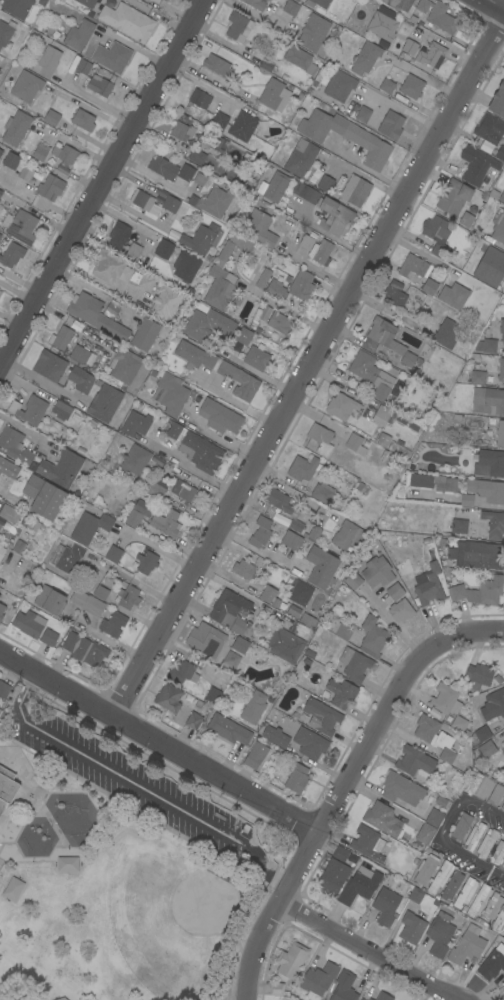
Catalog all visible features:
building: (163, 0)
building: (267, 0)
building: (297, 1)
road: (499, 2)
building: (86, 3)
building: (317, 3)
building: (255, 4)
building: (398, 4)
building: (16, 7)
building: (290, 8)
building: (437, 16)
building: (127, 21)
building: (383, 24)
building: (238, 27)
building: (313, 32)
building: (5, 35)
building: (79, 35)
building: (435, 53)
building: (112, 57)
building: (365, 58)
building: (300, 59)
building: (47, 62)
building: (266, 64)
building: (217, 66)
building: (83, 67)
building: (99, 85)
building: (26, 86)
building: (339, 86)
building: (387, 86)
building: (411, 87)
building: (274, 95)
building: (199, 99)
building: (498, 101)
road: (90, 110)
building: (363, 114)
building: (51, 118)
building: (83, 120)
building: (219, 120)
building: (390, 125)
building: (242, 126)
building: (15, 128)
building: (489, 129)
building: (181, 131)
building: (345, 136)
road: (80, 148)
building: (227, 148)
building: (0, 152)
building: (40, 152)
building: (63, 153)
building: (500, 153)
building: (300, 158)
building: (203, 160)
building: (11, 161)
building: (477, 166)
building: (62, 168)
building: (162, 168)
road: (366, 168)
building: (185, 173)
building: (25, 174)
road: (151, 176)
building: (315, 176)
road: (104, 181)
building: (197, 182)
building: (325, 183)
building: (50, 187)
building: (275, 187)
building: (355, 191)
building: (1, 192)
building: (305, 193)
building: (453, 197)
building: (502, 197)
building: (144, 202)
building: (214, 202)
building: (170, 204)
building: (334, 217)
building: (466, 220)
building: (20, 226)
building: (498, 227)
building: (259, 229)
building: (436, 234)
building: (0, 235)
building: (0, 236)
building: (118, 236)
building: (201, 238)
building: (306, 242)
building: (163, 249)
building: (132, 251)
building: (320, 252)
building: (11, 255)
building: (185, 266)
building: (412, 266)
building: (490, 266)
building: (110, 267)
building: (224, 275)
building: (262, 278)
building: (146, 282)
building: (301, 285)
building: (429, 287)
building: (0, 290)
road: (91, 290)
building: (275, 290)
building: (0, 292)
building: (394, 294)
building: (453, 295)
building: (164, 302)
building: (264, 313)
building: (95, 316)
building: (279, 323)
building: (207, 325)
building: (502, 330)
building: (447, 333)
building: (144, 334)
building: (243, 336)
building: (60, 338)
building: (386, 341)
building: (486, 346)
building: (80, 356)
building: (256, 358)
road: (1, 359)
building: (49, 366)
building: (123, 367)
building: (219, 369)
road: (312, 369)
building: (500, 370)
building: (371, 375)
building: (477, 378)
road: (37, 379)
building: (80, 379)
building: (170, 394)
building: (488, 401)
building: (104, 403)
road: (240, 403)
building: (341, 406)
building: (28, 410)
building: (61, 410)
building: (382, 415)
building: (219, 417)
building: (135, 424)
building: (401, 424)
road: (25, 430)
building: (174, 430)
building: (500, 434)
road: (220, 439)
building: (320, 439)
building: (383, 440)
building: (355, 444)
building: (14, 446)
building: (200, 452)
building: (135, 459)
building: (492, 462)
building: (302, 468)
building: (61, 469)
road: (191, 470)
building: (7, 471)
building: (419, 481)
building: (445, 484)
building: (154, 488)
building: (486, 490)
building: (187, 493)
building: (323, 493)
building: (44, 497)
building: (278, 501)
building: (466, 501)
building: (9, 513)
building: (133, 518)
building: (1, 521)
building: (166, 524)
building: (493, 524)
building: (296, 526)
building: (89, 527)
building: (458, 527)
building: (260, 532)
building: (347, 535)
building: (291, 540)
building: (2, 552)
road: (161, 552)
building: (113, 554)
building: (476, 555)
building: (66, 557)
building: (146, 562)
building: (321, 567)
building: (243, 569)
building: (377, 572)
building: (353, 581)
building: (428, 585)
building: (394, 591)
building: (100, 592)
building: (299, 592)
building: (479, 592)
building: (269, 596)
building: (128, 597)
building: (49, 599)
building: (87, 603)
building: (400, 610)
building: (1, 611)
building: (230, 611)
building: (307, 621)
building: (28, 623)
building: (113, 624)
building: (341, 630)
building: (48, 637)
building: (373, 637)
building: (205, 640)
building: (240, 645)
building: (284, 645)
building: (84, 650)
building: (354, 665)
building: (181, 673)
building: (478, 676)
building: (4, 690)
building: (341, 693)
building: (212, 696)
building: (167, 697)
building: (445, 700)
building: (491, 707)
building: (253, 708)
building: (0, 711)
building: (321, 716)
building: (193, 720)
building: (459, 724)
building: (228, 729)
building: (431, 732)
building: (480, 735)
building: (275, 737)
road: (157, 740)
building: (309, 743)
building: (487, 749)
building: (503, 753)
building: (255, 755)
building: (446, 756)
road: (156, 761)
building: (415, 763)
road: (38, 773)
building: (296, 779)
road: (340, 782)
road: (135, 783)
parking lot: (136, 783)
building: (472, 784)
building: (6, 787)
building: (400, 788)
building: (484, 789)
road: (37, 791)
building: (496, 794)
road: (14, 805)
road: (126, 805)
road: (486, 806)
building: (502, 806)
road: (450, 815)
building: (434, 818)
building: (382, 819)
road: (21, 825)
building: (461, 827)
building: (425, 834)
building: (473, 835)
road: (1, 843)
building: (486, 843)
building: (368, 844)
building: (498, 852)
building: (340, 854)
road: (37, 856)
road: (473, 859)
park: (119, 864)
building: (503, 864)
building: (426, 869)
building: (332, 877)
building: (439, 877)
building: (359, 885)
building: (452, 885)
building: (465, 892)
building: (416, 895)
building: (479, 900)
building: (385, 906)
building: (491, 906)
park: (181, 909)
road: (247, 917)
building: (498, 921)
building: (411, 928)
building: (440, 934)
building: (503, 935)
building: (467, 946)
road: (361, 950)
building: (290, 961)
building: (491, 965)
road: (220, 970)
building: (318, 980)
building: (344, 987)
building: (276, 988)
building: (382, 996)
building: (362, 999)
building: (369, 999)

